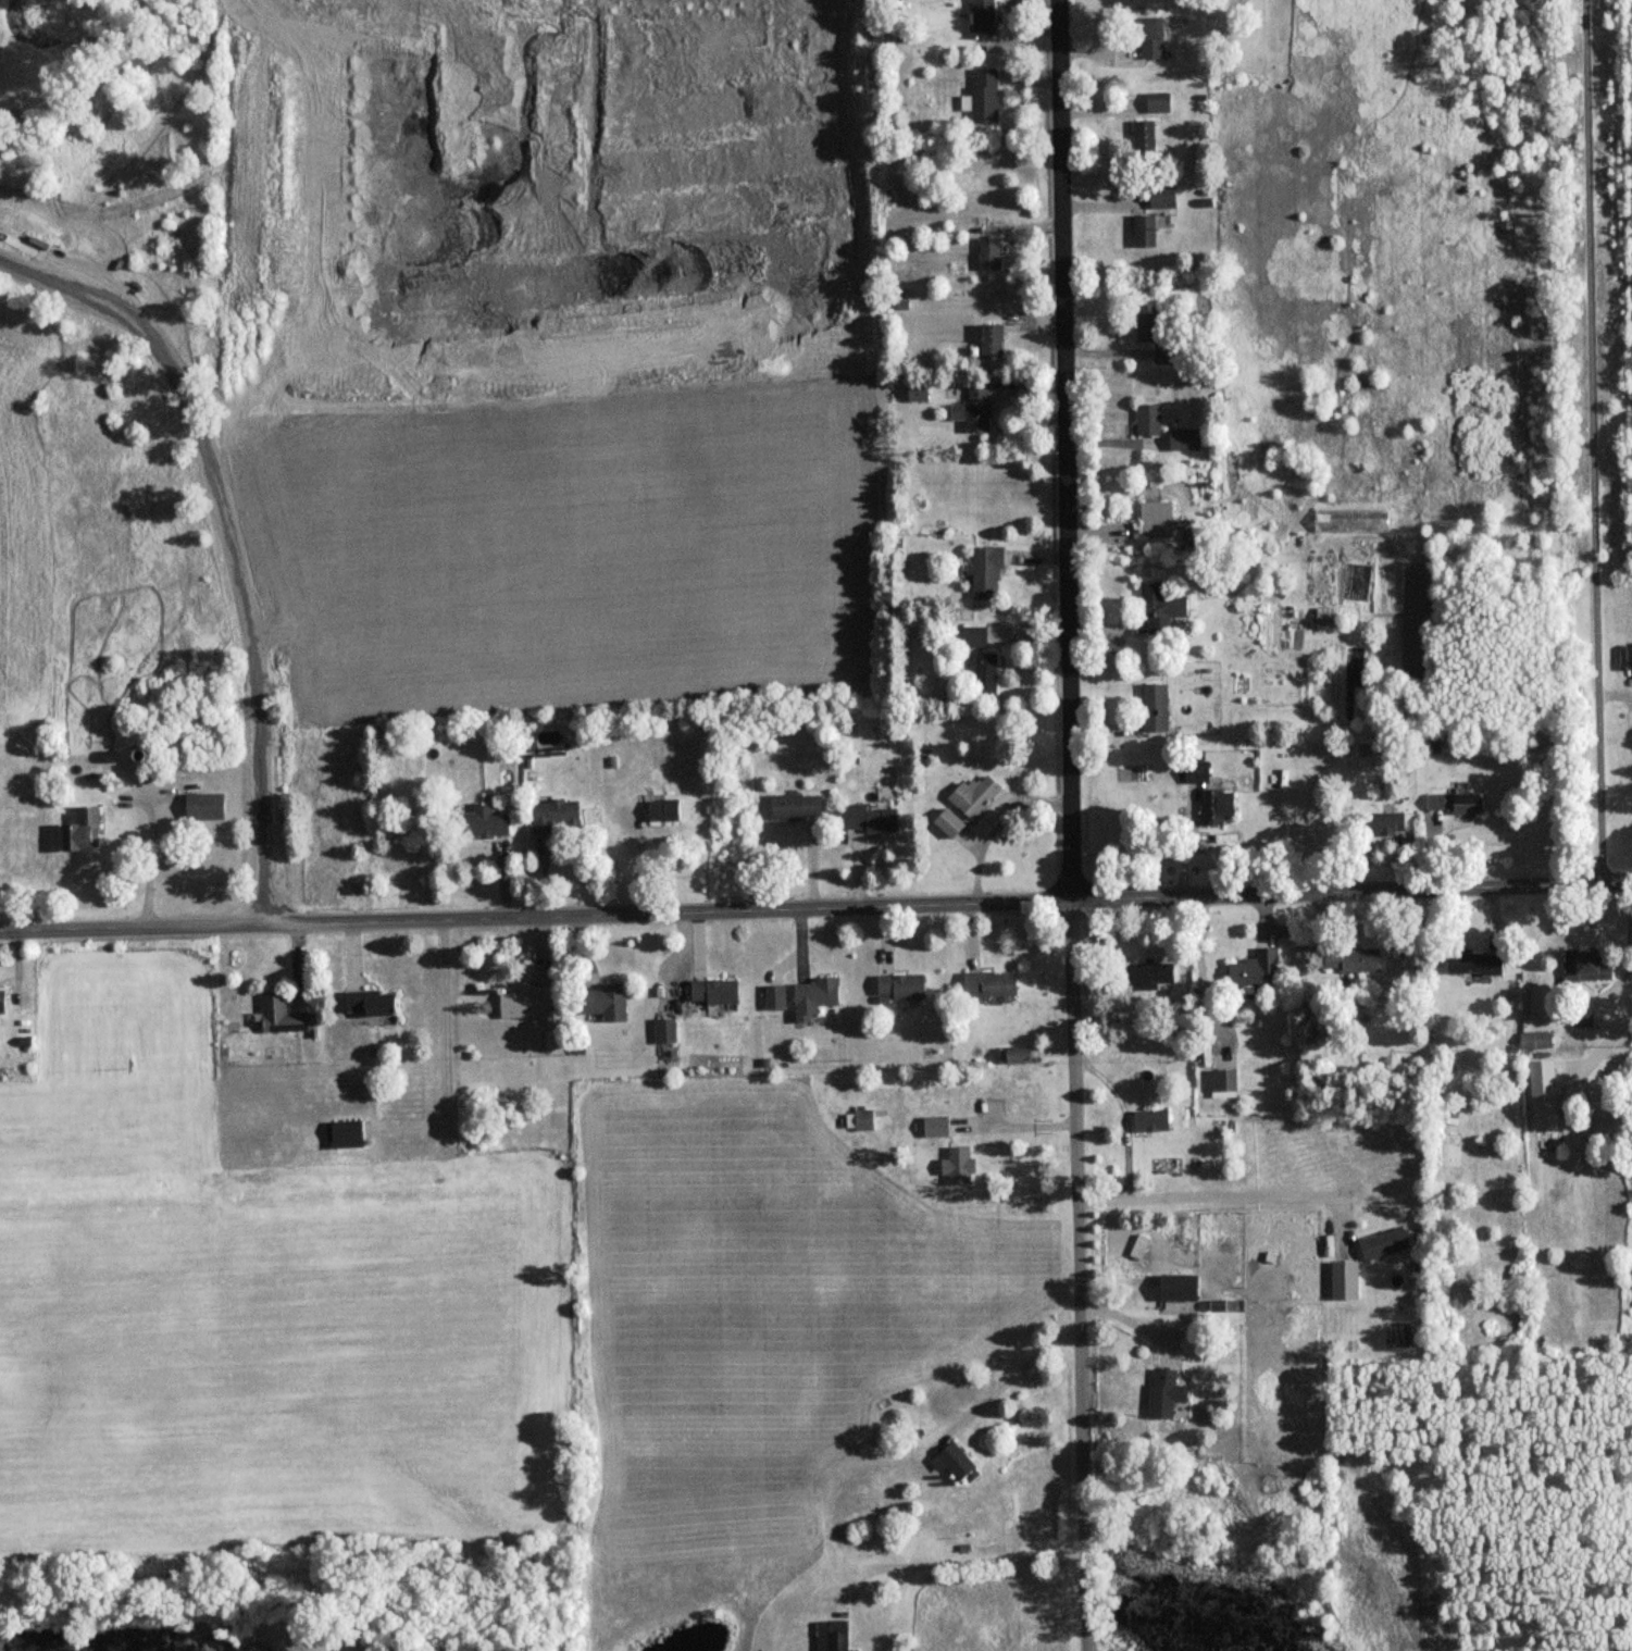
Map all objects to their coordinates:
building: (986, 17)
building: (1151, 36)
building: (985, 96)
building: (1159, 100)
building: (1145, 135)
quarry: (383, 137)
building: (1163, 194)
building: (1146, 229)
building: (36, 243)
building: (991, 253)
road: (71, 269)
road: (65, 289)
building: (1155, 333)
building: (995, 340)
building: (974, 410)
building: (1149, 419)
building: (1186, 439)
road: (1591, 442)
road: (1069, 451)
building: (1157, 518)
building: (1198, 535)
building: (989, 572)
road: (248, 607)
building: (1162, 608)
building: (1326, 616)
building: (976, 635)
building: (987, 672)
building: (1156, 706)
building: (1201, 772)
building: (976, 794)
building: (1460, 803)
road: (164, 804)
building: (208, 805)
building: (1220, 805)
building: (798, 806)
building: (664, 809)
building: (558, 815)
building: (871, 818)
building: (484, 821)
building: (954, 822)
building: (1392, 822)
building: (84, 828)
road: (997, 829)
road: (157, 853)
road: (815, 910)
building: (1353, 960)
building: (1478, 963)
building: (1593, 964)
building: (1255, 973)
building: (1145, 975)
building: (994, 983)
building: (904, 985)
building: (715, 991)
building: (817, 995)
building: (2, 1000)
building: (609, 1001)
building: (371, 1002)
building: (531, 1002)
building: (283, 1014)
building: (666, 1030)
building: (1538, 1039)
road: (1621, 1046)
building: (1221, 1059)
building: (1225, 1079)
road: (1125, 1117)
building: (862, 1119)
building: (1153, 1119)
road: (1018, 1124)
building: (938, 1126)
building: (347, 1132)
building: (961, 1165)
road: (1221, 1193)
road: (1077, 1202)
building: (1386, 1243)
building: (1142, 1246)
building: (1182, 1287)
road: (1009, 1377)
building: (1169, 1393)
building: (955, 1460)
road: (1082, 1576)
building: (834, 1635)

